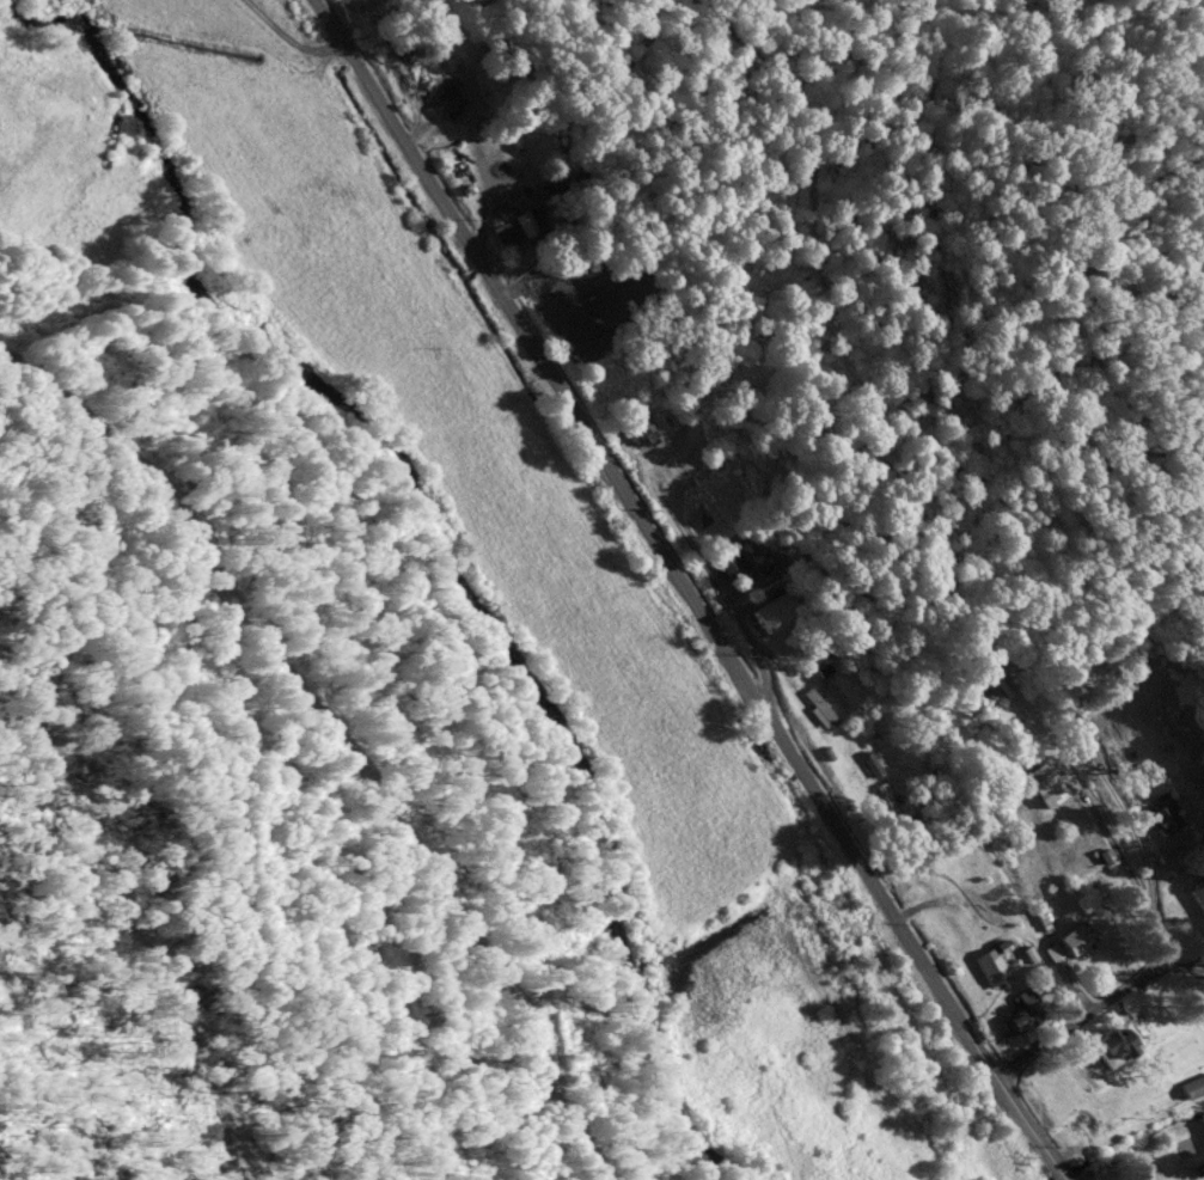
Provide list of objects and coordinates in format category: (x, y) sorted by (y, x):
road: (293, 39)
building: (451, 97)
road: (488, 197)
building: (507, 224)
building: (551, 305)
building: (642, 428)
building: (731, 560)
railway: (636, 585)
road: (685, 585)
building: (776, 610)
road: (741, 619)
building: (983, 690)
building: (825, 701)
railway: (227, 707)
railway: (349, 726)
road: (344, 732)
building: (866, 764)
building: (1045, 782)
building: (1162, 815)
road: (1118, 854)
building: (1077, 939)
building: (992, 962)
building: (1021, 1009)
road: (1080, 1014)
building: (1110, 1044)
building: (1192, 1084)
railway: (439, 1099)
road: (1064, 1173)

